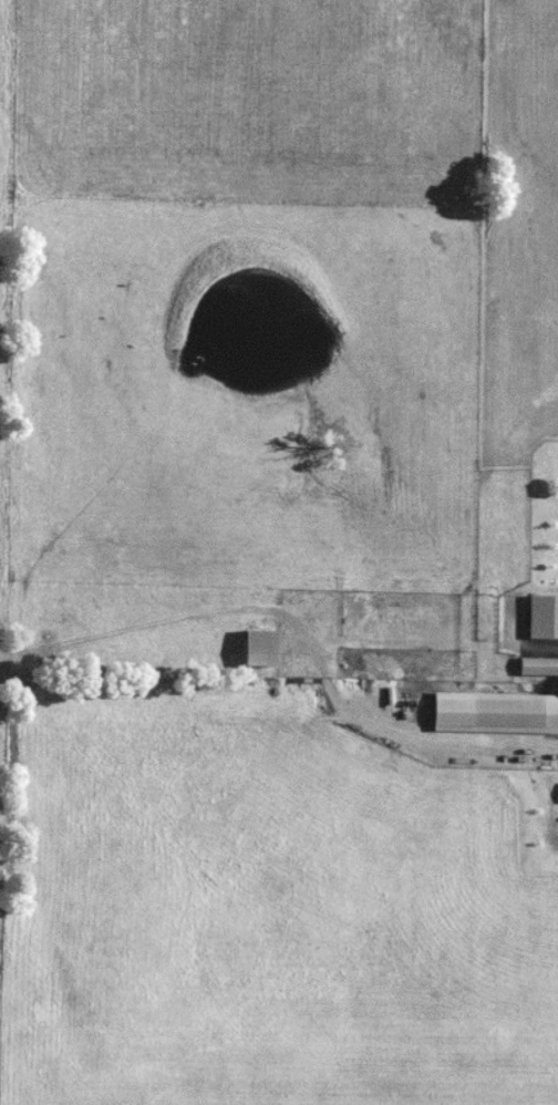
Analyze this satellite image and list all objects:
building: (541, 617)
building: (257, 649)
building: (537, 667)
building: (493, 713)

